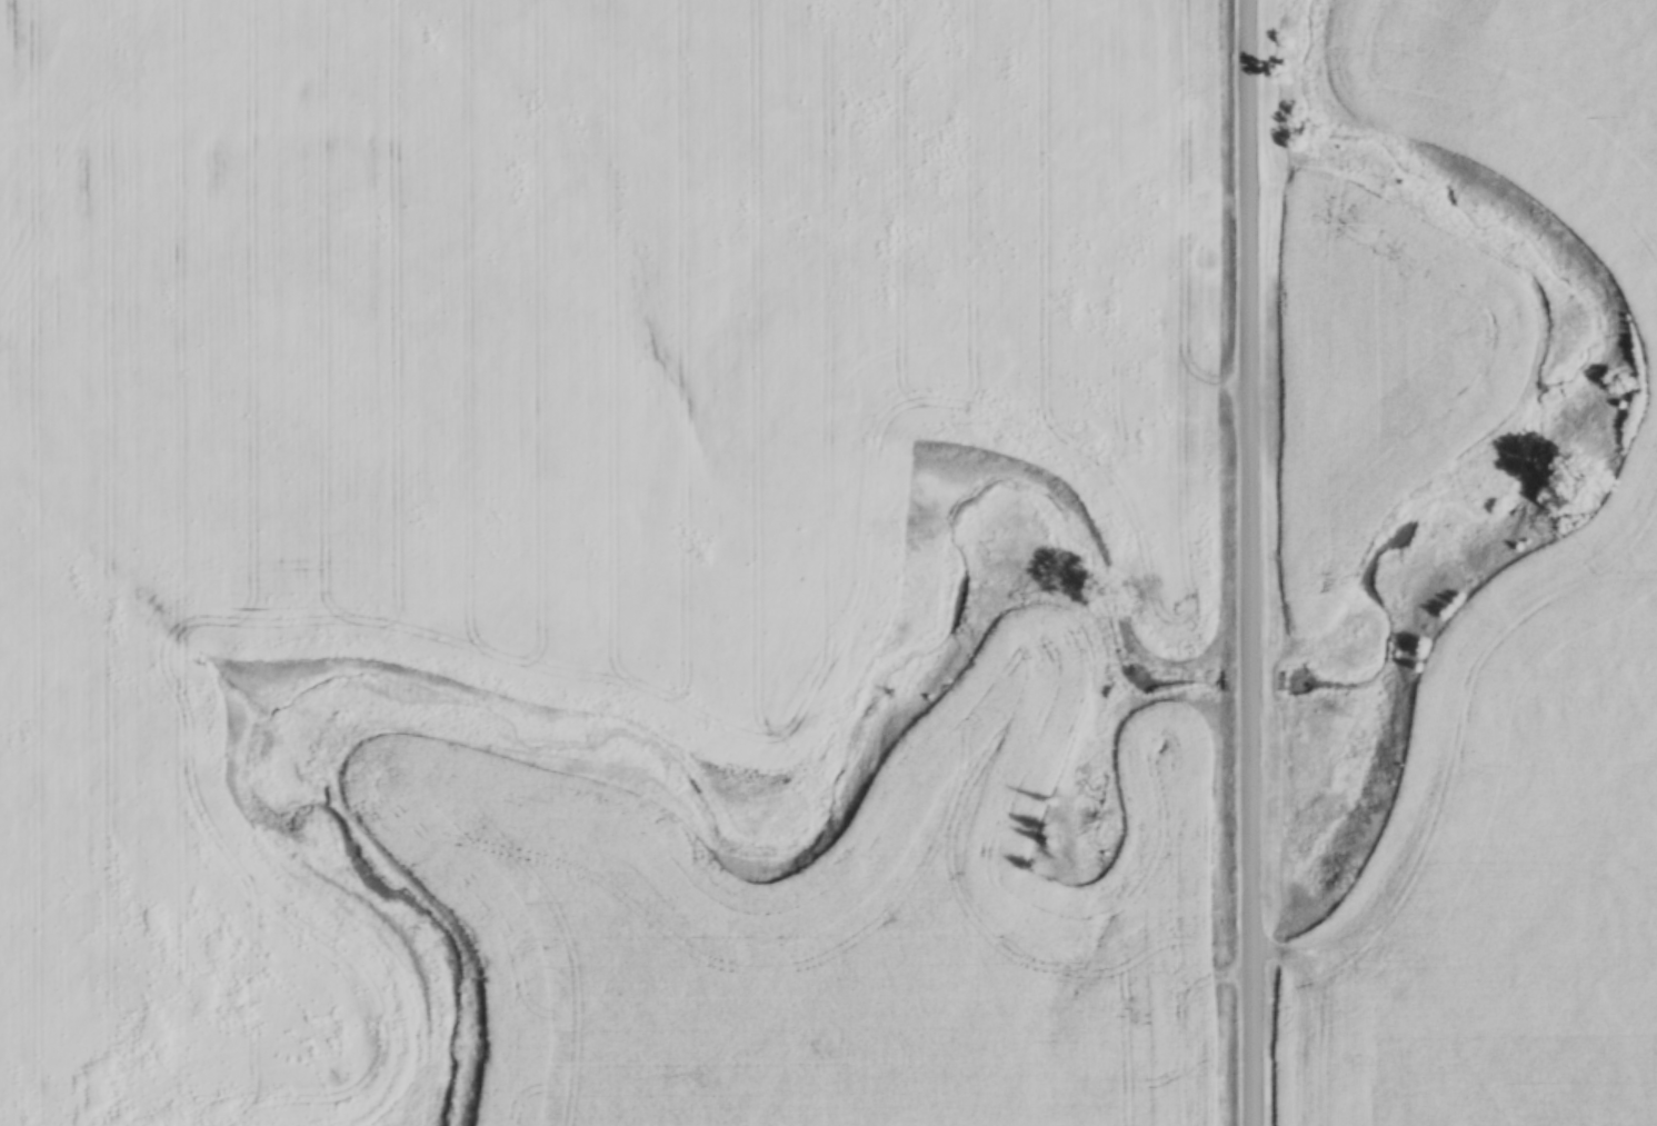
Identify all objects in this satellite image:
road: (1251, 562)

